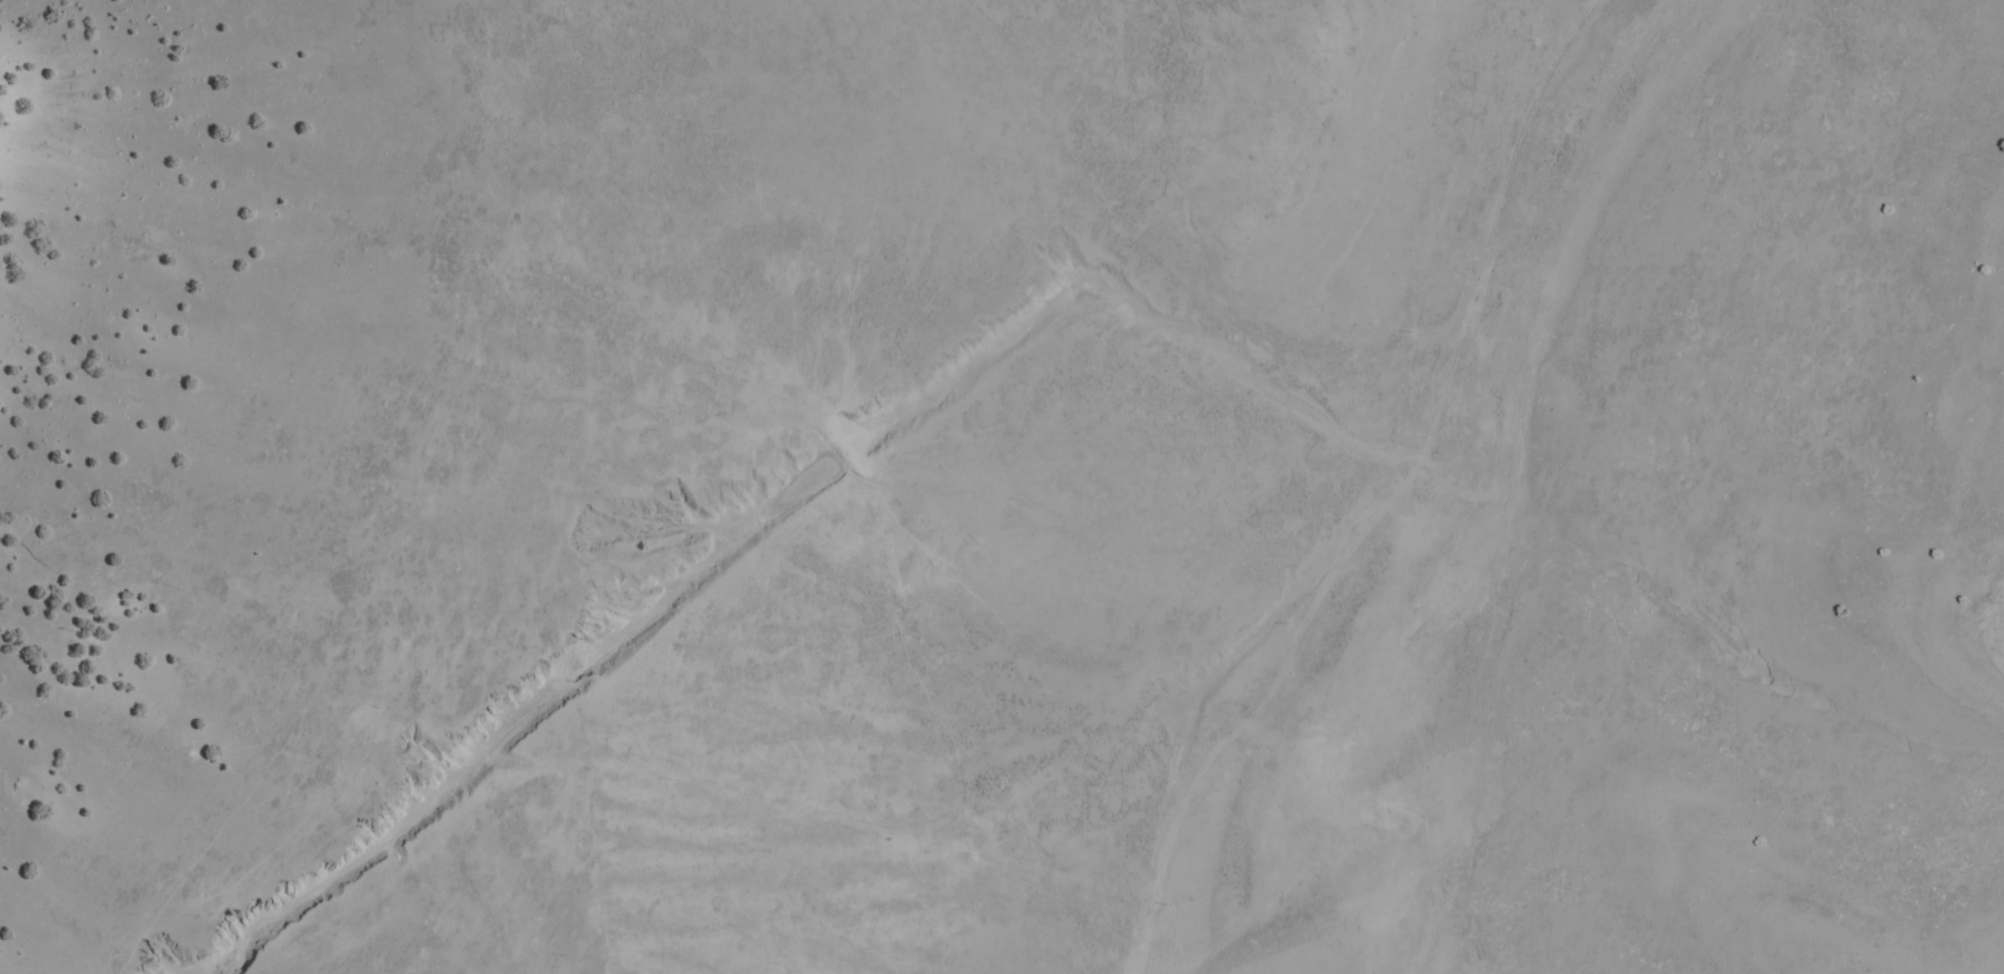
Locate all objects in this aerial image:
road: (1433, 520)

